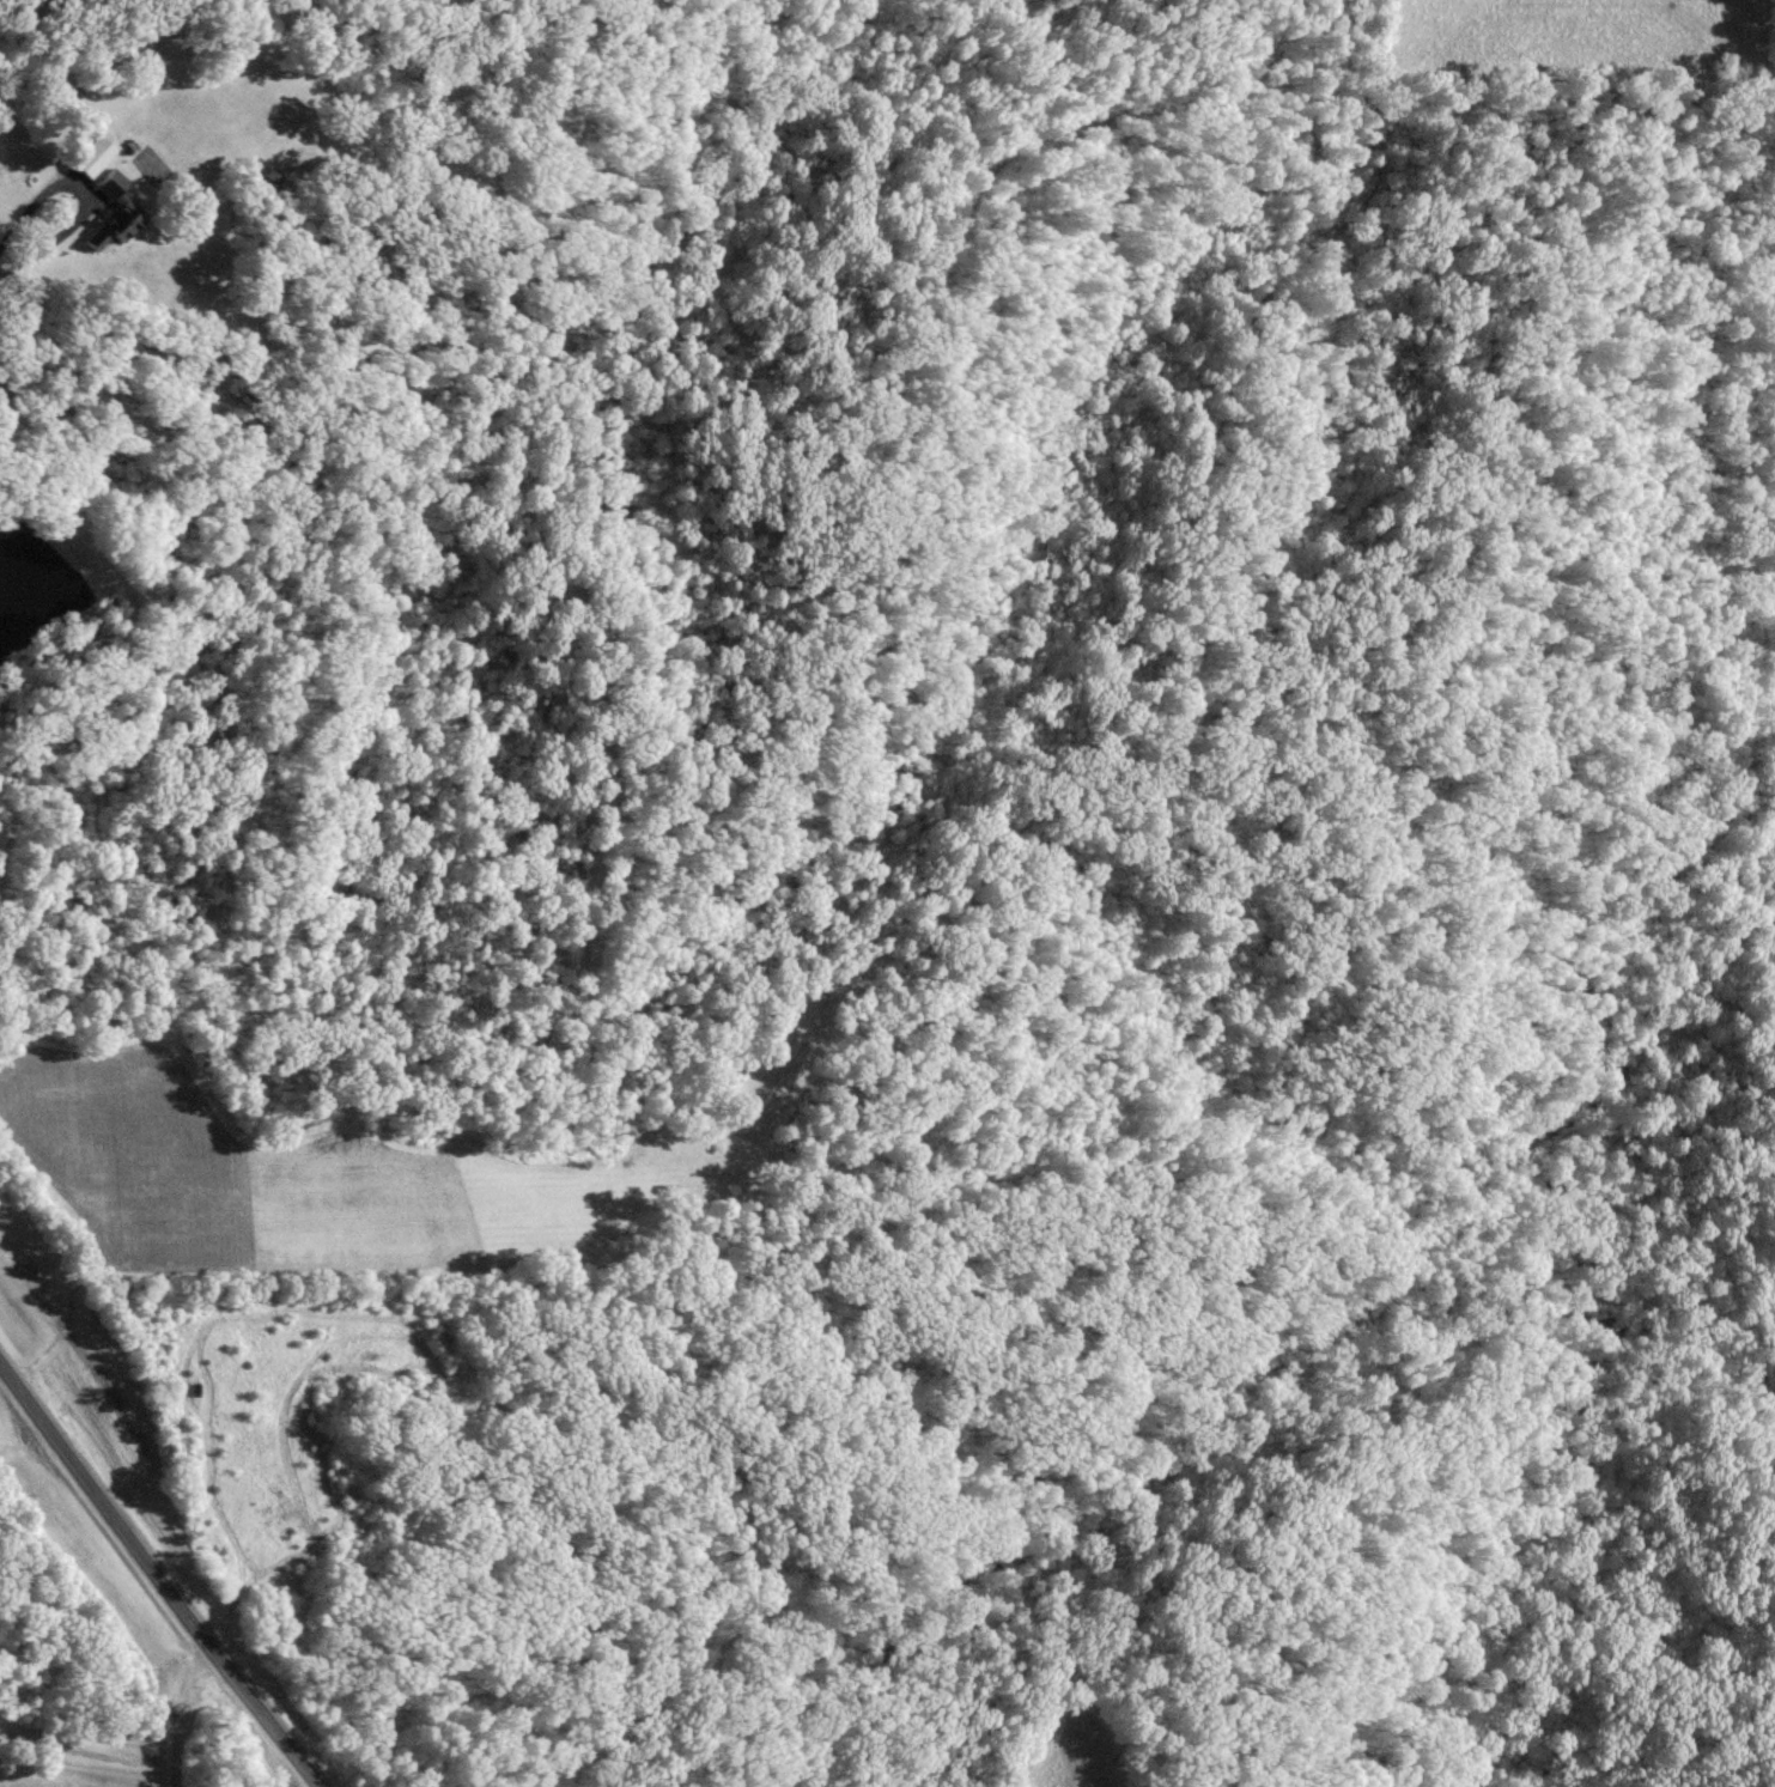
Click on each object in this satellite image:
building: (95, 157)
road: (159, 1579)
road: (181, 1712)

